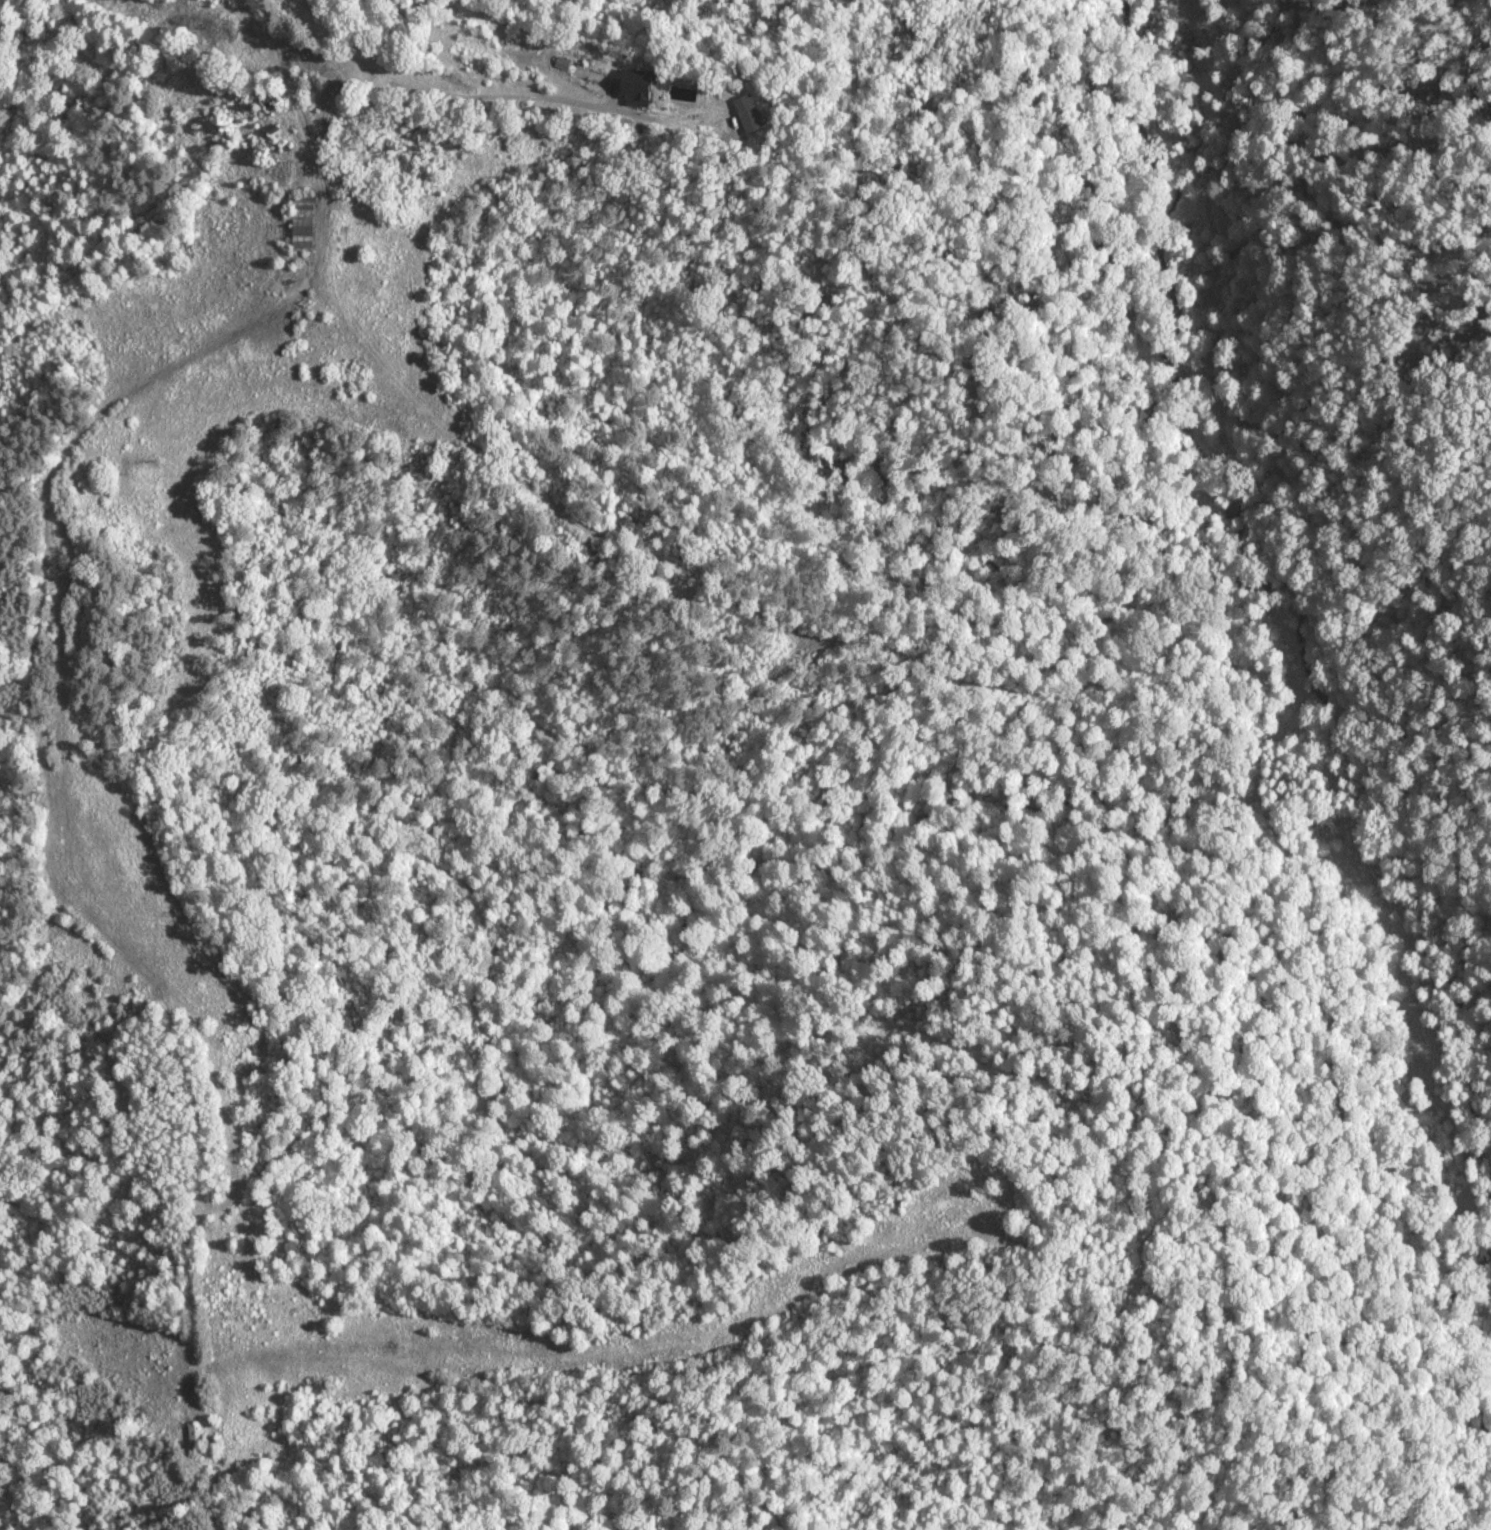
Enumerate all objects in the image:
building: (578, 68)
building: (300, 224)

